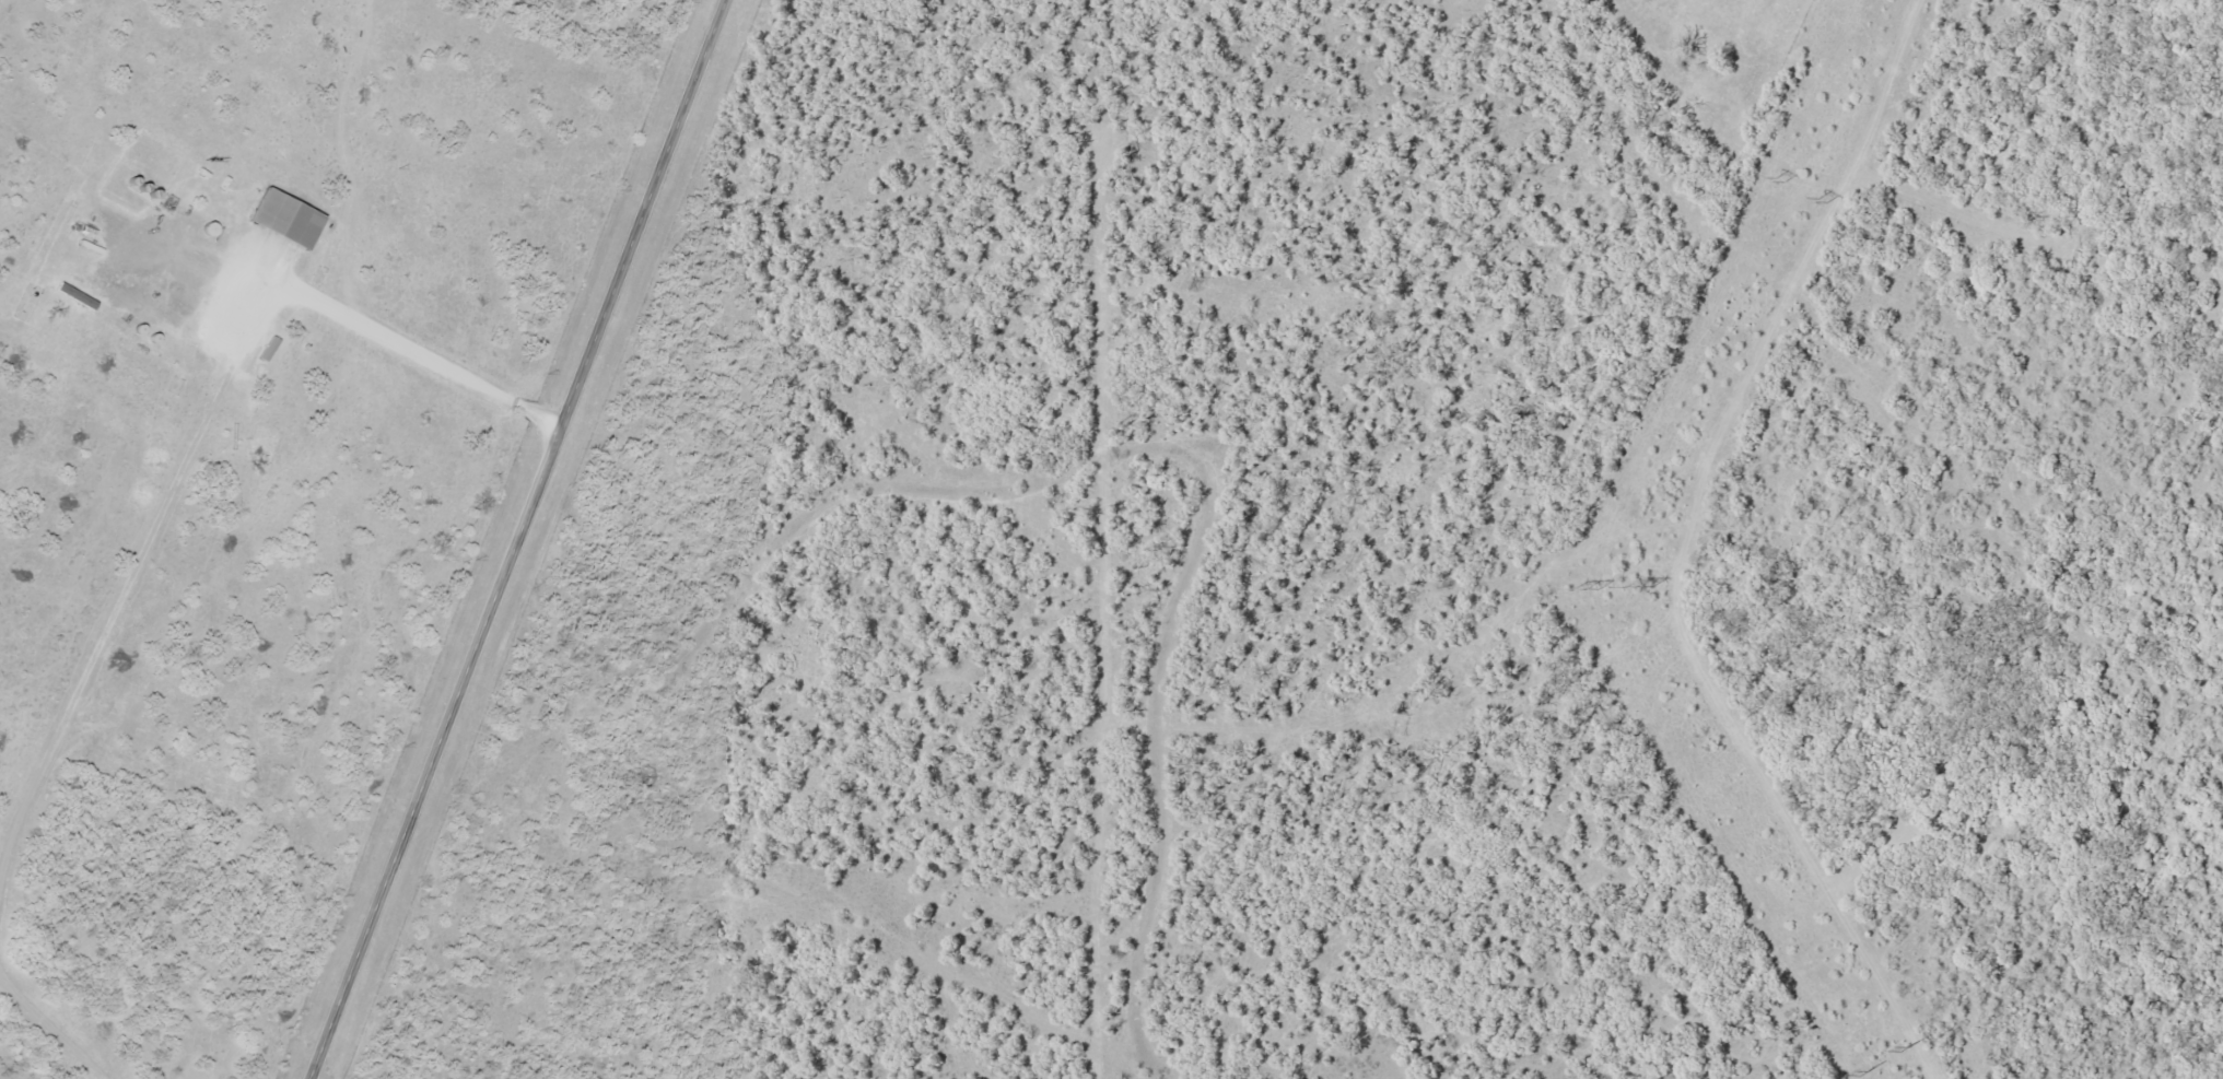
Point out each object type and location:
power tower: (1776, 180)
power tower: (1821, 201)
building: (224, 242)
storage tank: (224, 242)
building: (232, 246)
storage tank: (232, 246)
building: (239, 251)
storage tank: (239, 251)
road: (441, 365)
road: (517, 539)
power plant: (1381, 565)
power tower: (1636, 587)
power tower: (1578, 591)
power tower: (1902, 1047)
power tower: (1860, 1072)

